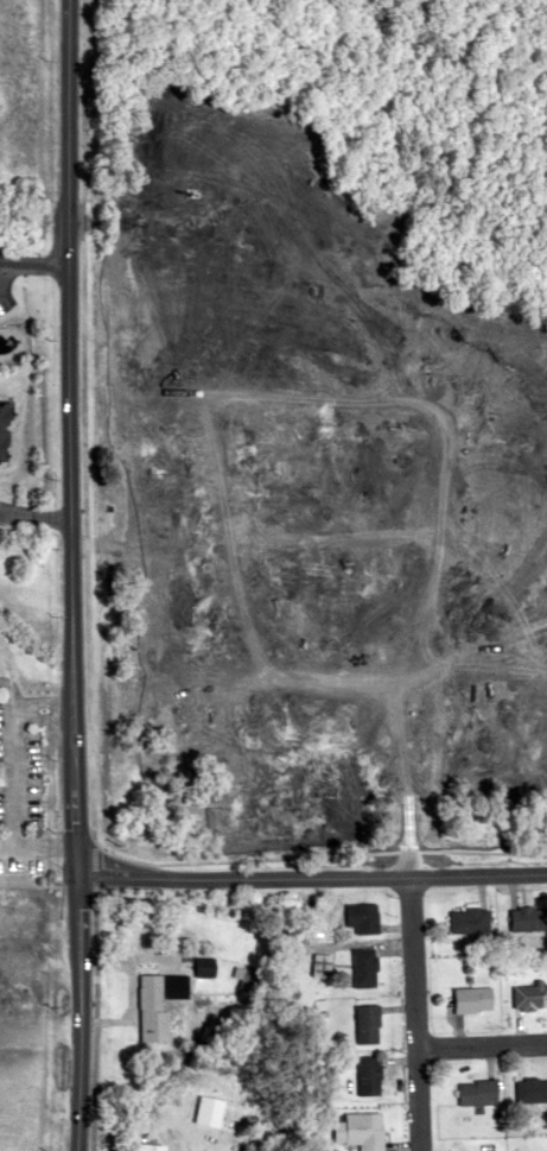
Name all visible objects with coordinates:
road: (32, 265)
building: (4, 434)
road: (426, 464)
road: (33, 523)
road: (250, 536)
road: (66, 575)
road: (85, 575)
road: (249, 688)
road: (310, 875)
building: (361, 917)
building: (528, 918)
building: (466, 921)
building: (318, 965)
building: (362, 967)
building: (529, 997)
building: (471, 999)
building: (155, 1004)
road: (413, 1012)
building: (365, 1024)
road: (481, 1043)
building: (367, 1074)
building: (530, 1088)
building: (476, 1090)
building: (358, 1130)
building: (148, 1146)

